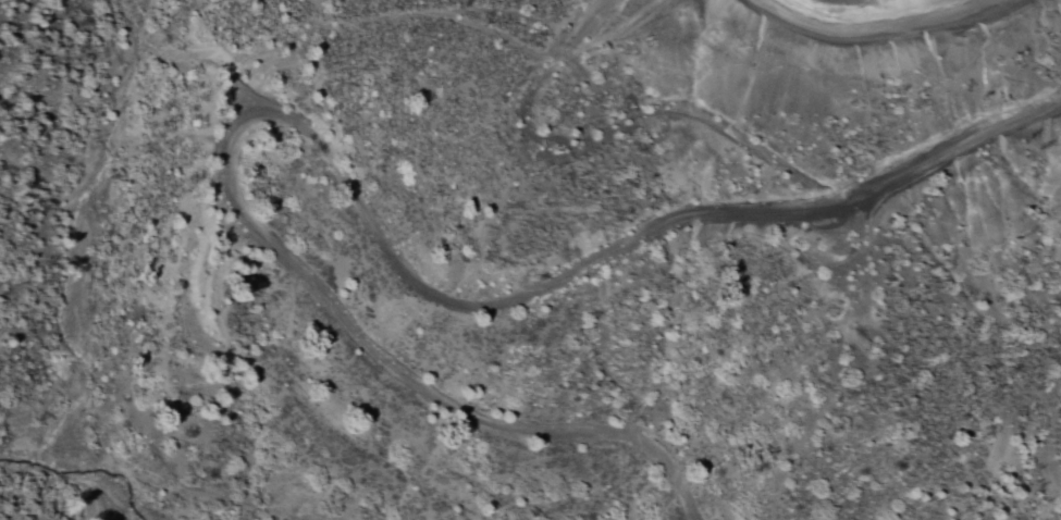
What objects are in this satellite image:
road: (891, 79)
road: (408, 249)

